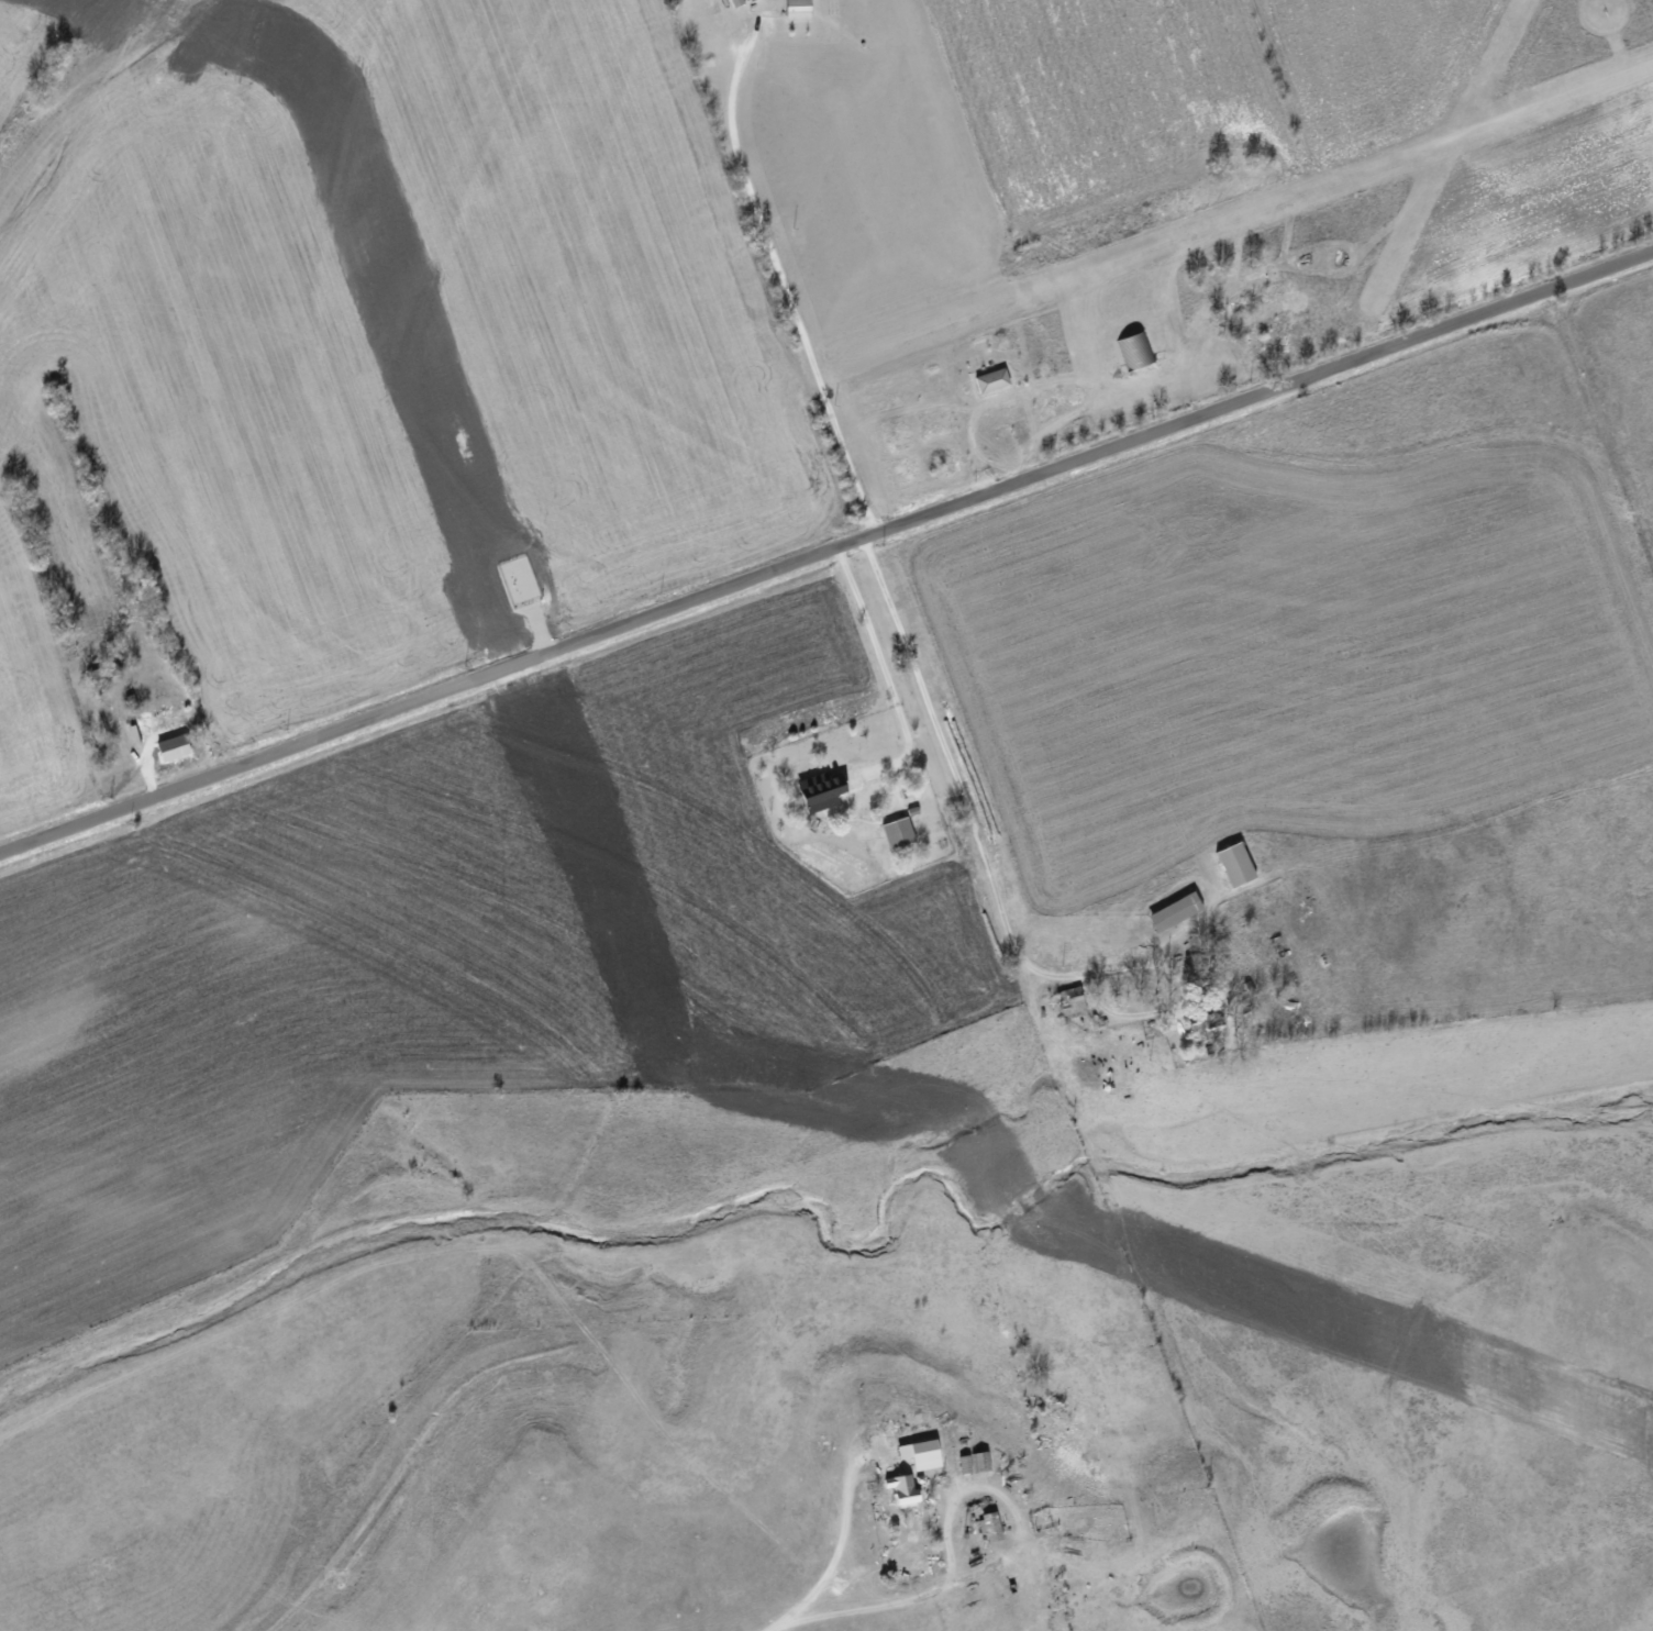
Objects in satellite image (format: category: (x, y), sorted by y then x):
building: (798, 9)
airport runway: (1453, 157)
airport runway: (1243, 215)
road: (786, 293)
building: (1135, 351)
building: (992, 379)
road: (825, 552)
road: (879, 663)
building: (173, 747)
road: (988, 832)
building: (899, 833)
building: (1238, 865)
building: (1176, 912)
building: (922, 1454)
road: (923, 1590)

